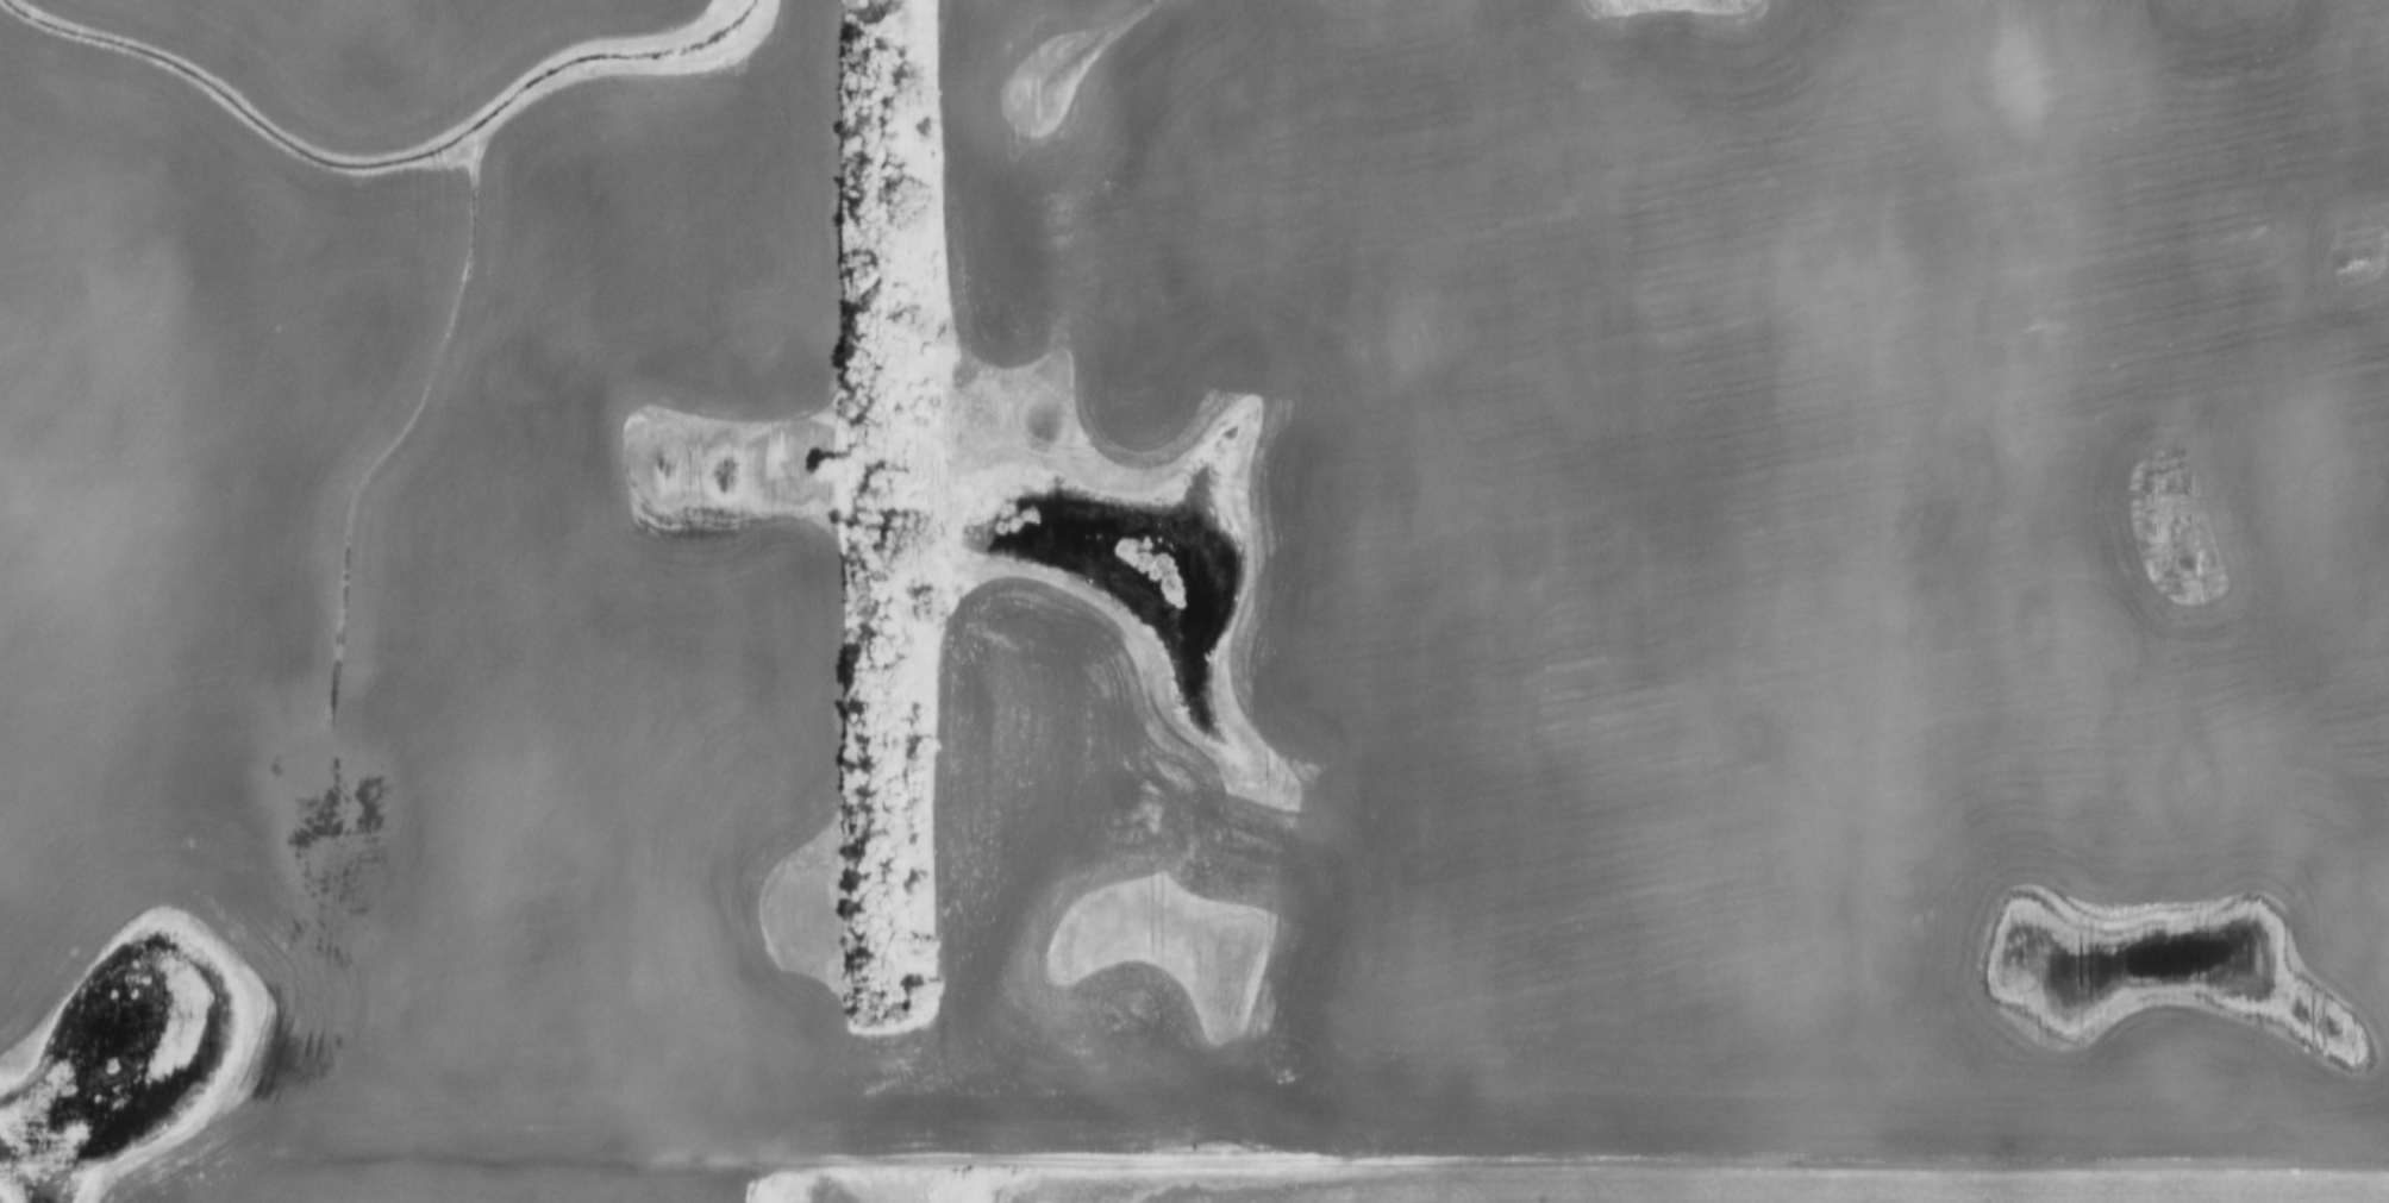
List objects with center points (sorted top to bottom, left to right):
road: (1194, 1164)
road: (748, 1182)

